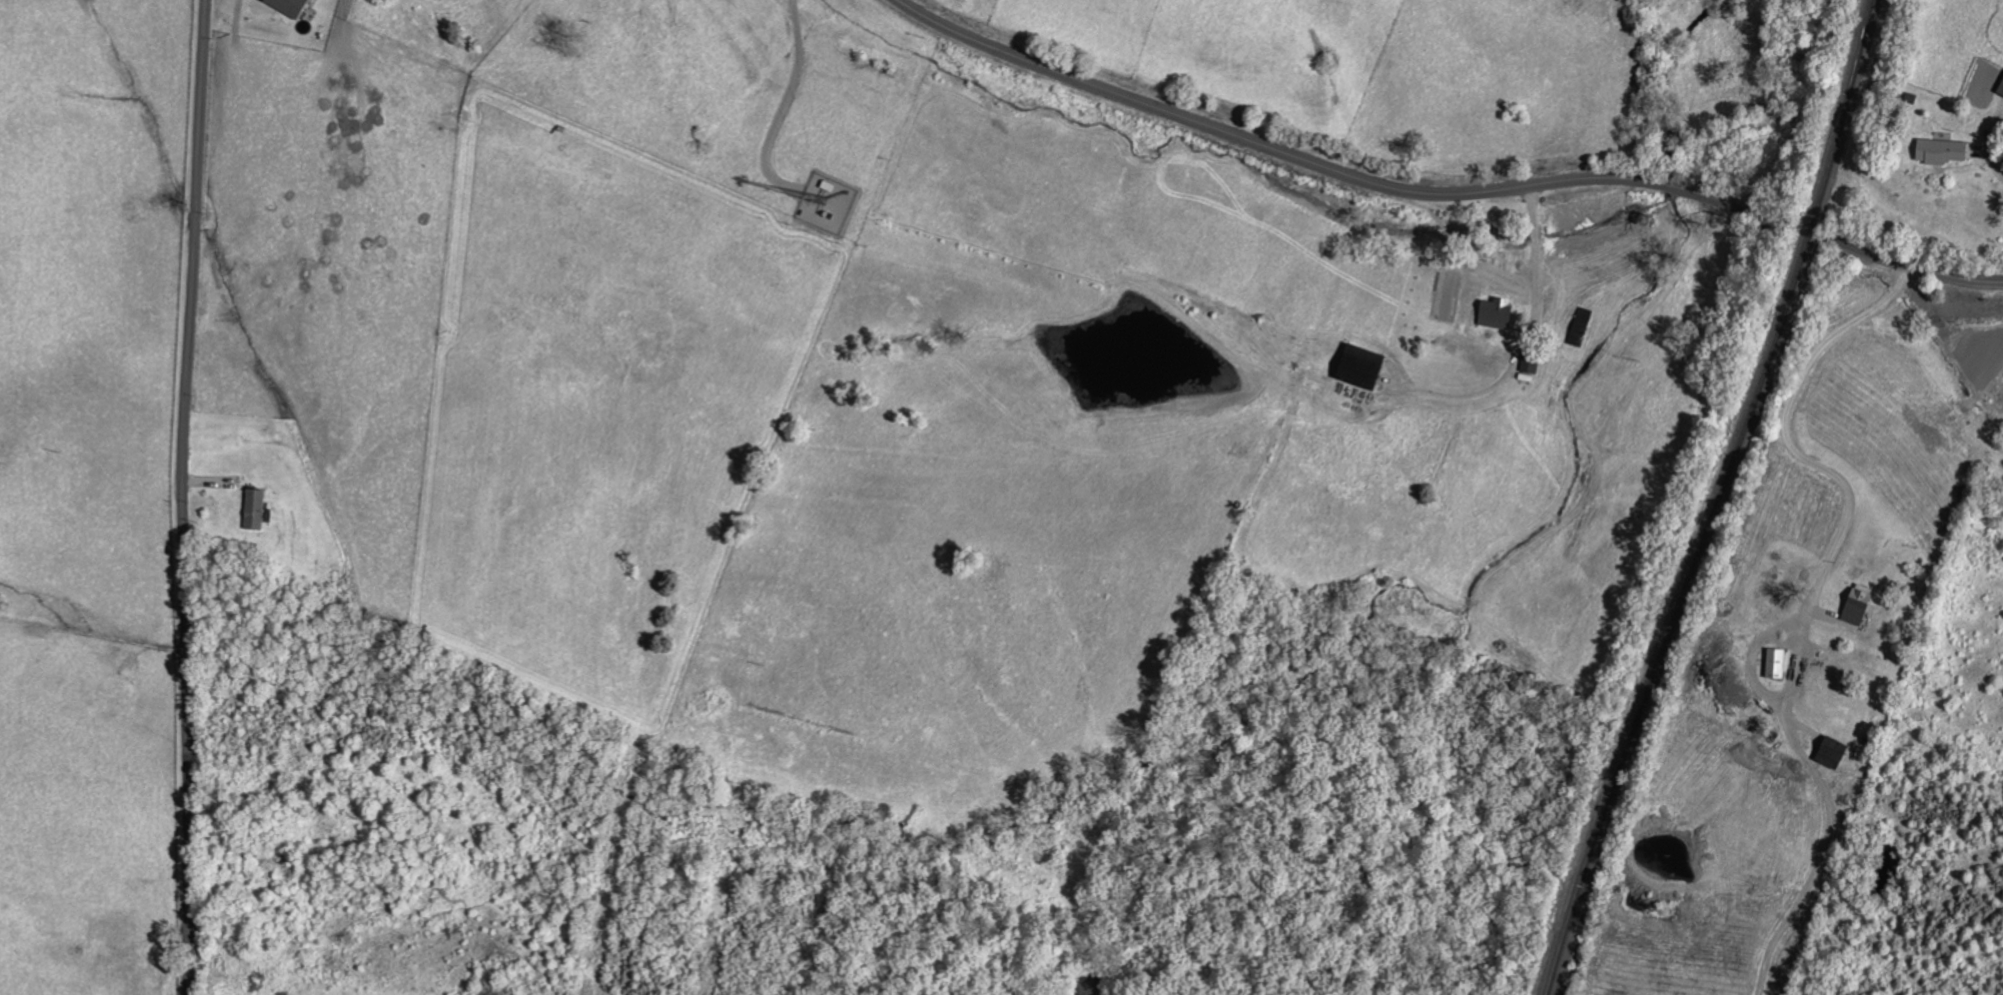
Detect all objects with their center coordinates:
building: (287, 6)
building: (2000, 89)
building: (1941, 152)
road: (1984, 156)
road: (1334, 170)
road: (1913, 267)
building: (1495, 314)
building: (1530, 365)
building: (1358, 367)
road: (185, 497)
railway: (1719, 500)
building: (254, 510)
road: (1845, 515)
building: (1856, 607)
building: (1775, 664)
building: (1831, 753)

